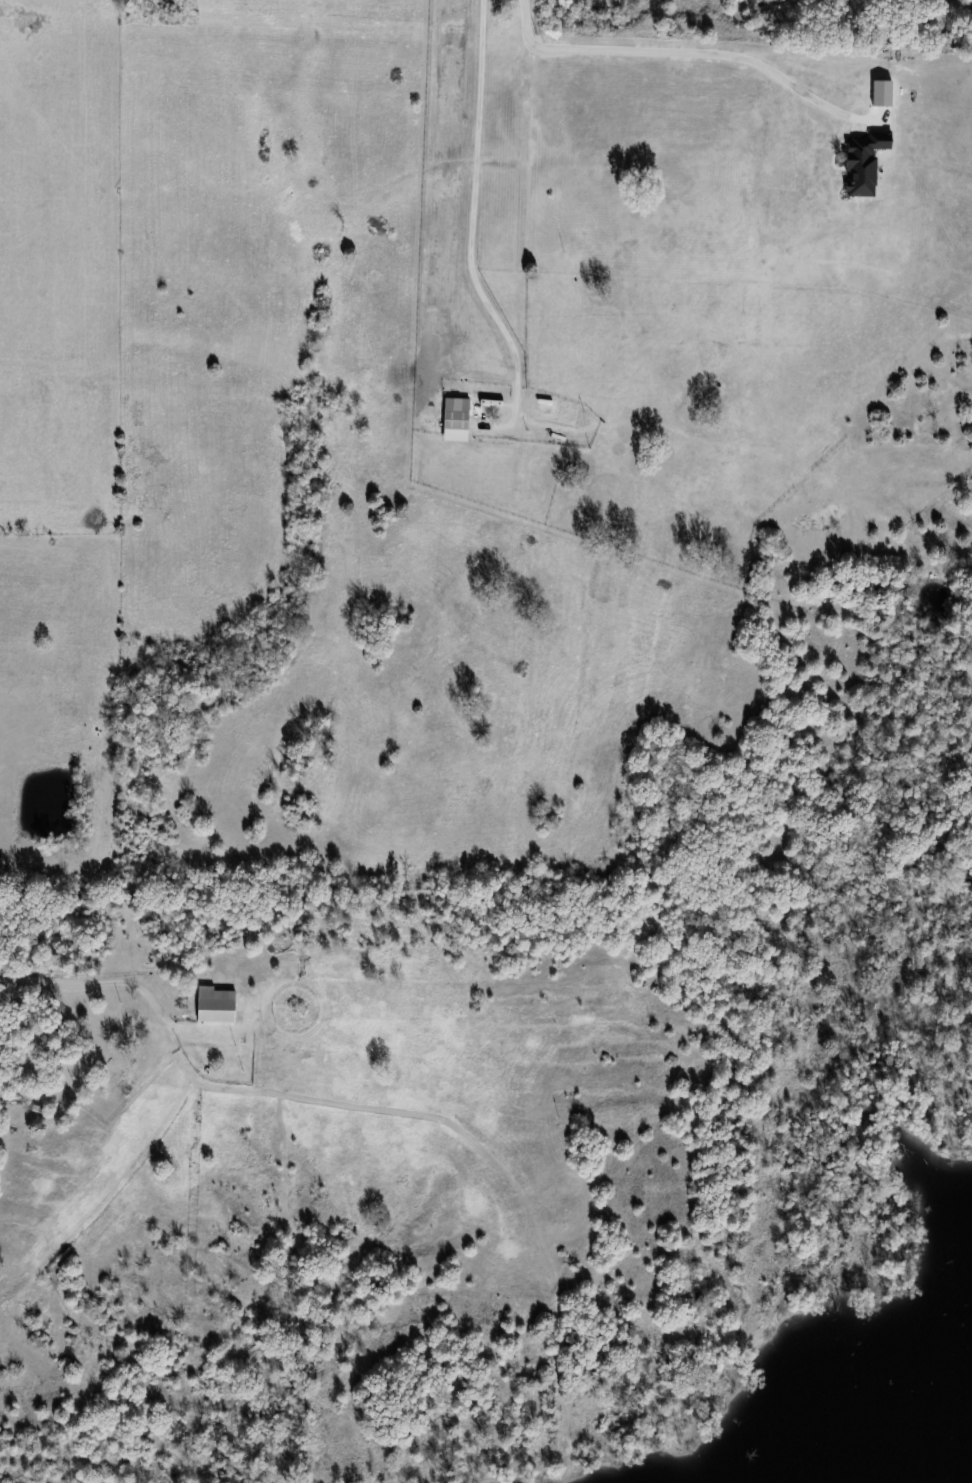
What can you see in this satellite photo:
building: (6, 12)
road: (677, 51)
road: (475, 219)
building: (454, 420)
road: (90, 983)
building: (214, 1005)
building: (115, 1078)

